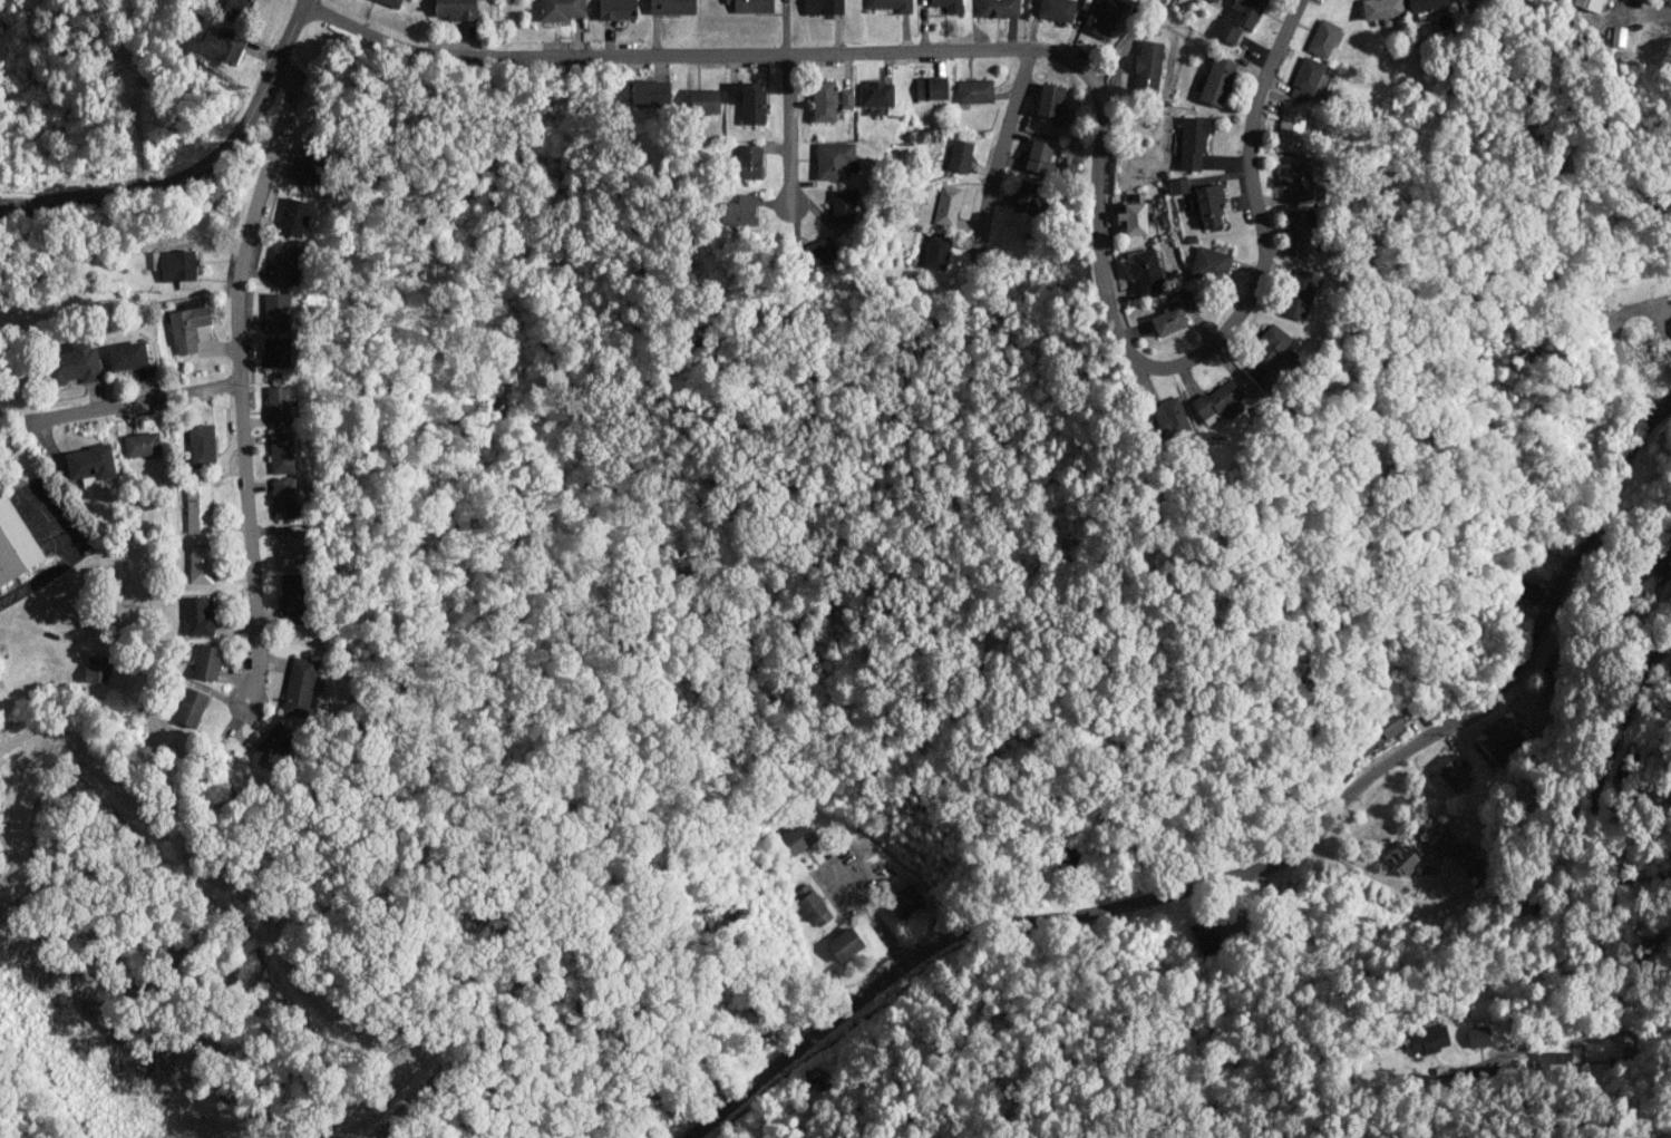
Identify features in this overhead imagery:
building: (1459, 0)
building: (390, 2)
building: (1215, 2)
building: (1589, 3)
building: (890, 4)
building: (948, 4)
building: (1425, 4)
building: (671, 6)
building: (750, 6)
building: (234, 7)
building: (822, 7)
building: (997, 8)
building: (455, 9)
building: (560, 9)
building: (616, 9)
building: (1053, 9)
building: (1380, 10)
building: (1105, 18)
building: (1237, 18)
building: (1617, 35)
building: (1322, 38)
building: (223, 45)
road: (661, 55)
building: (1147, 65)
building: (1305, 78)
building: (1216, 80)
building: (930, 88)
building: (973, 90)
building: (649, 91)
building: (875, 94)
building: (846, 98)
building: (1049, 99)
building: (703, 100)
building: (747, 100)
building: (823, 100)
building: (1290, 127)
road: (790, 129)
building: (1193, 139)
building: (959, 155)
road: (998, 155)
building: (1037, 155)
building: (834, 159)
building: (746, 162)
road: (197, 168)
building: (307, 168)
building: (1295, 179)
building: (1177, 185)
building: (1026, 196)
building: (1207, 204)
building: (842, 205)
building: (946, 205)
building: (740, 210)
building: (292, 216)
building: (1133, 217)
building: (1302, 232)
building: (818, 250)
building: (935, 251)
building: (1209, 263)
building: (283, 264)
building: (178, 268)
building: (1145, 271)
building: (1299, 293)
building: (275, 311)
building: (1168, 318)
building: (1670, 320)
building: (188, 325)
building: (274, 352)
building: (126, 356)
building: (72, 363)
road: (1183, 364)
road: (241, 378)
road: (137, 401)
building: (1218, 401)
building: (278, 403)
building: (1169, 417)
building: (142, 445)
building: (201, 445)
building: (280, 453)
building: (89, 464)
building: (283, 497)
building: (197, 508)
building: (14, 543)
road: (67, 544)
building: (293, 545)
building: (1660, 560)
building: (200, 564)
building: (1528, 591)
building: (294, 599)
building: (198, 615)
building: (206, 662)
building: (96, 669)
building: (298, 685)
building: (191, 707)
building: (1378, 735)
building: (1499, 737)
building: (272, 745)
building: (1449, 772)
building: (797, 838)
building: (1441, 846)
building: (1400, 857)
building: (1469, 863)
building: (1425, 868)
road: (1262, 869)
building: (904, 901)
building: (812, 905)
building: (1204, 935)
building: (844, 944)
building: (1477, 1037)
building: (1428, 1039)
building: (1623, 1049)
building: (1553, 1062)

